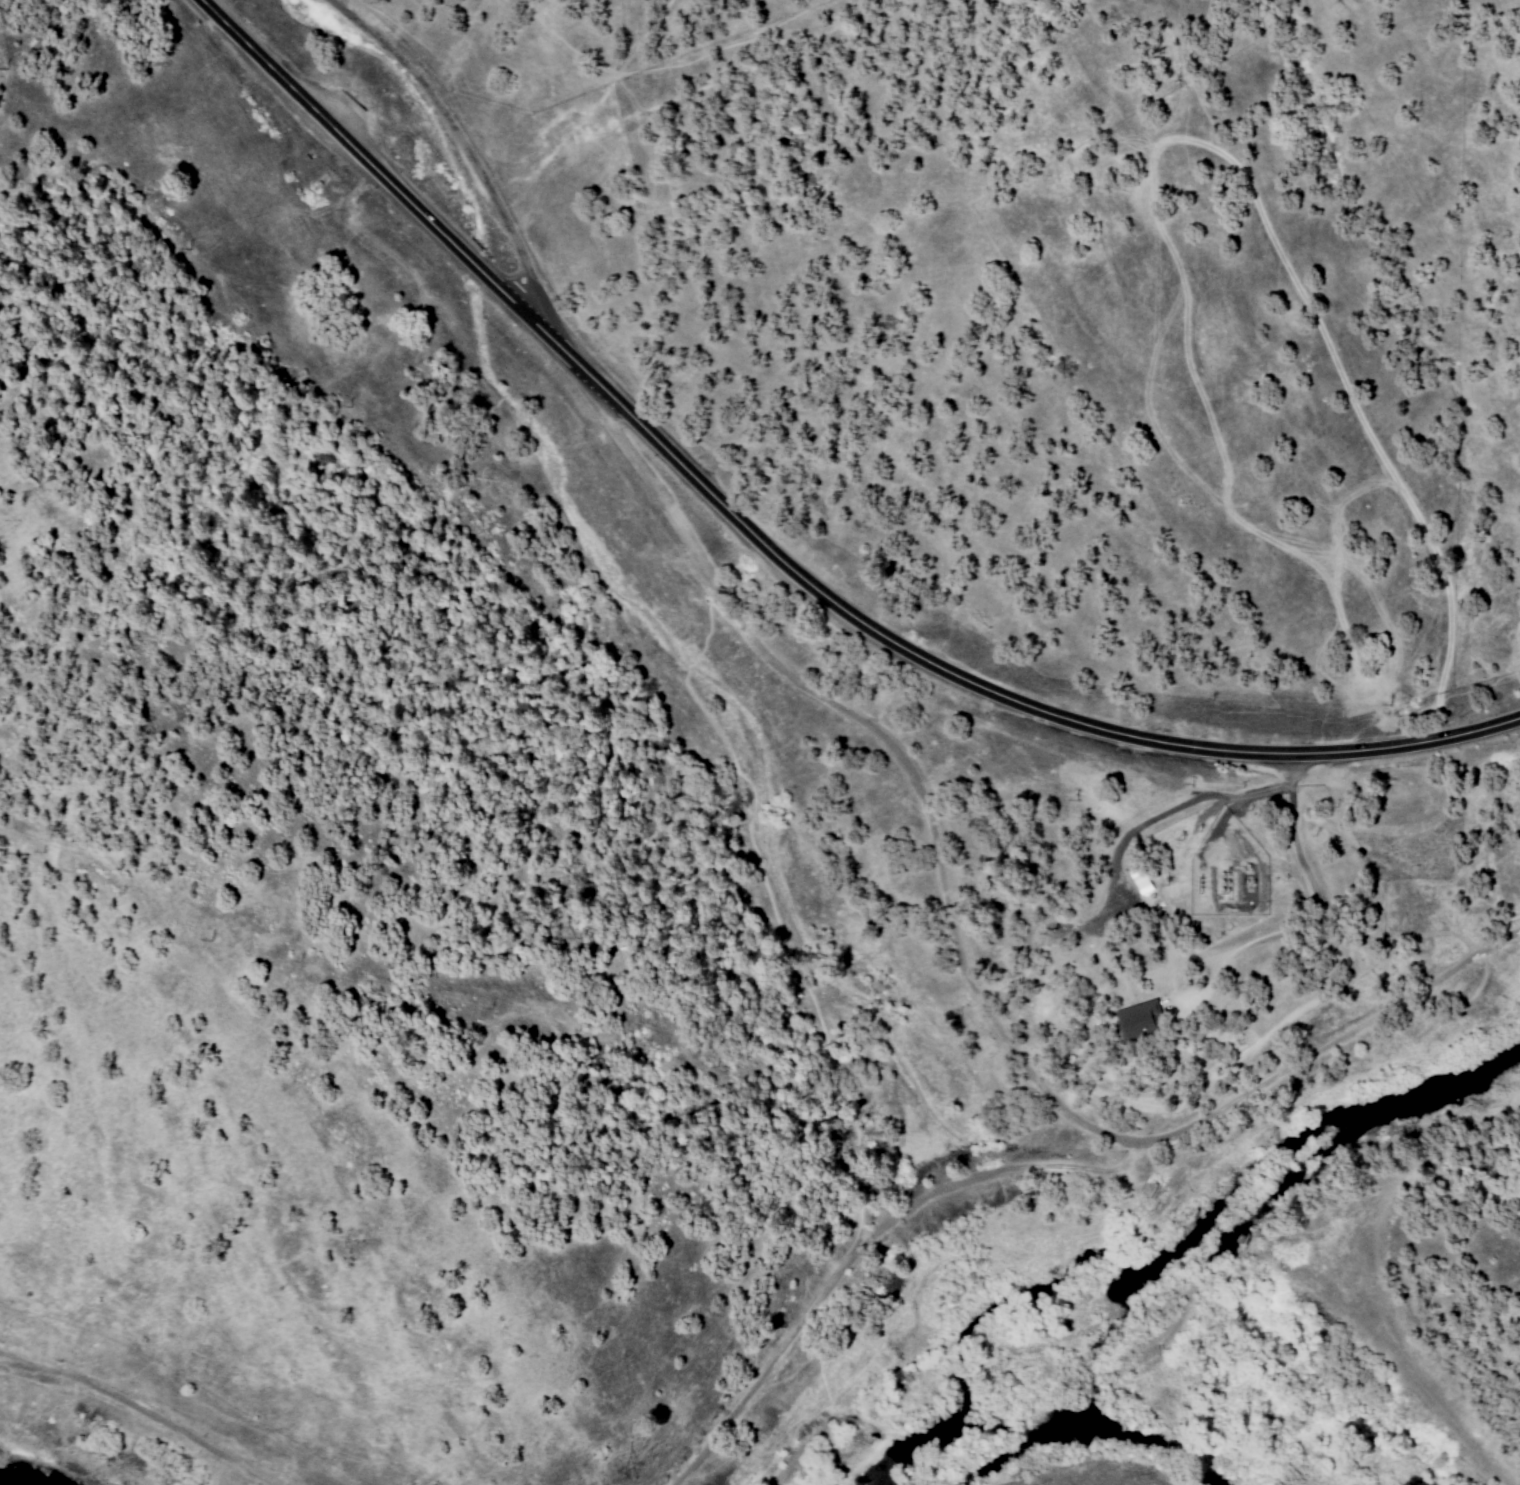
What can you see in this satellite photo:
road: (463, 146)
road: (779, 552)
road: (907, 763)
power substation: (1238, 885)
road: (1320, 916)
building: (1142, 1022)
river: (1272, 1180)
road: (867, 1249)
river: (942, 1403)
road: (137, 1406)
river: (31, 1481)

